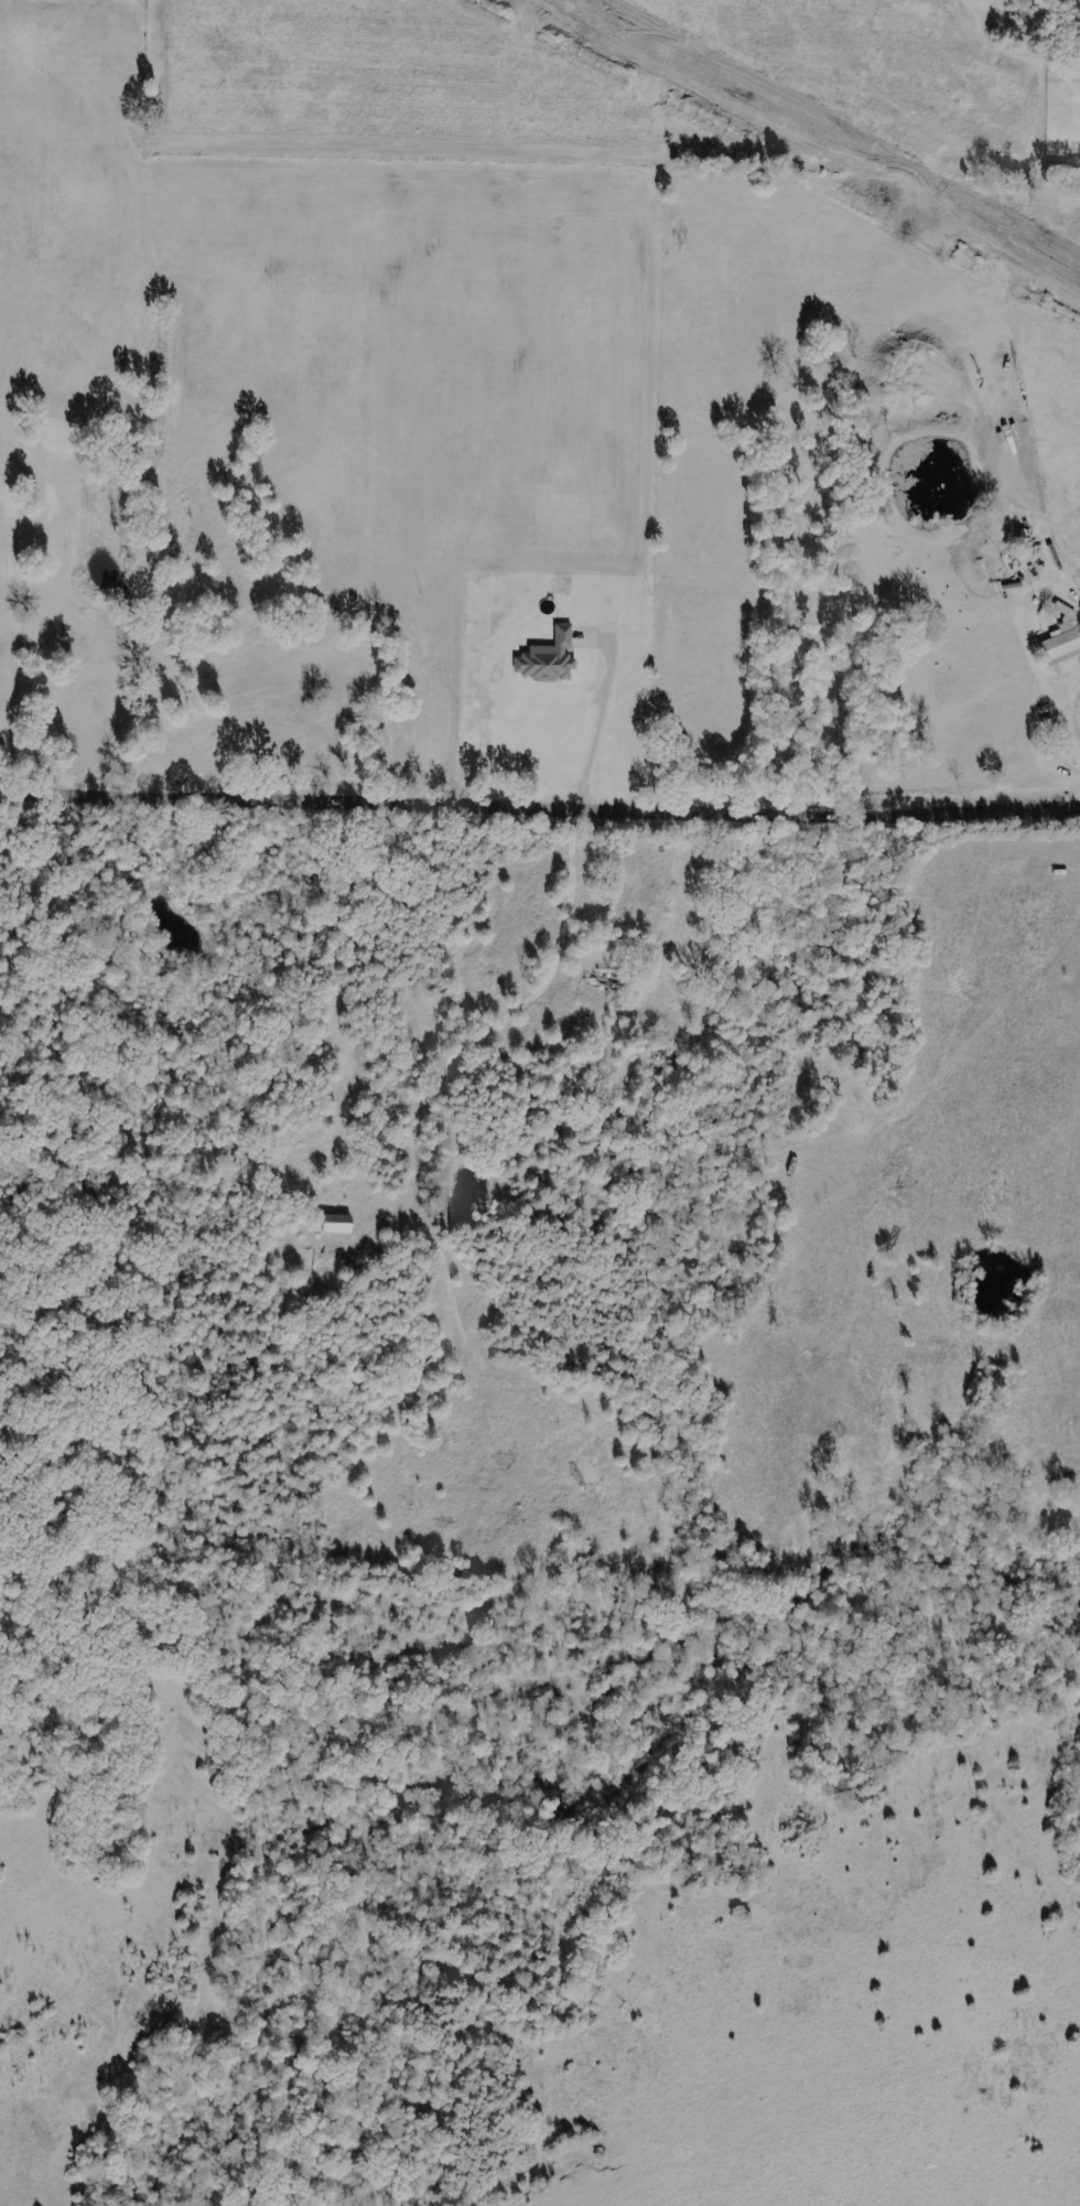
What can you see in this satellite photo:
building: (1020, 563)
building: (1062, 643)
building: (552, 657)
road: (540, 799)

